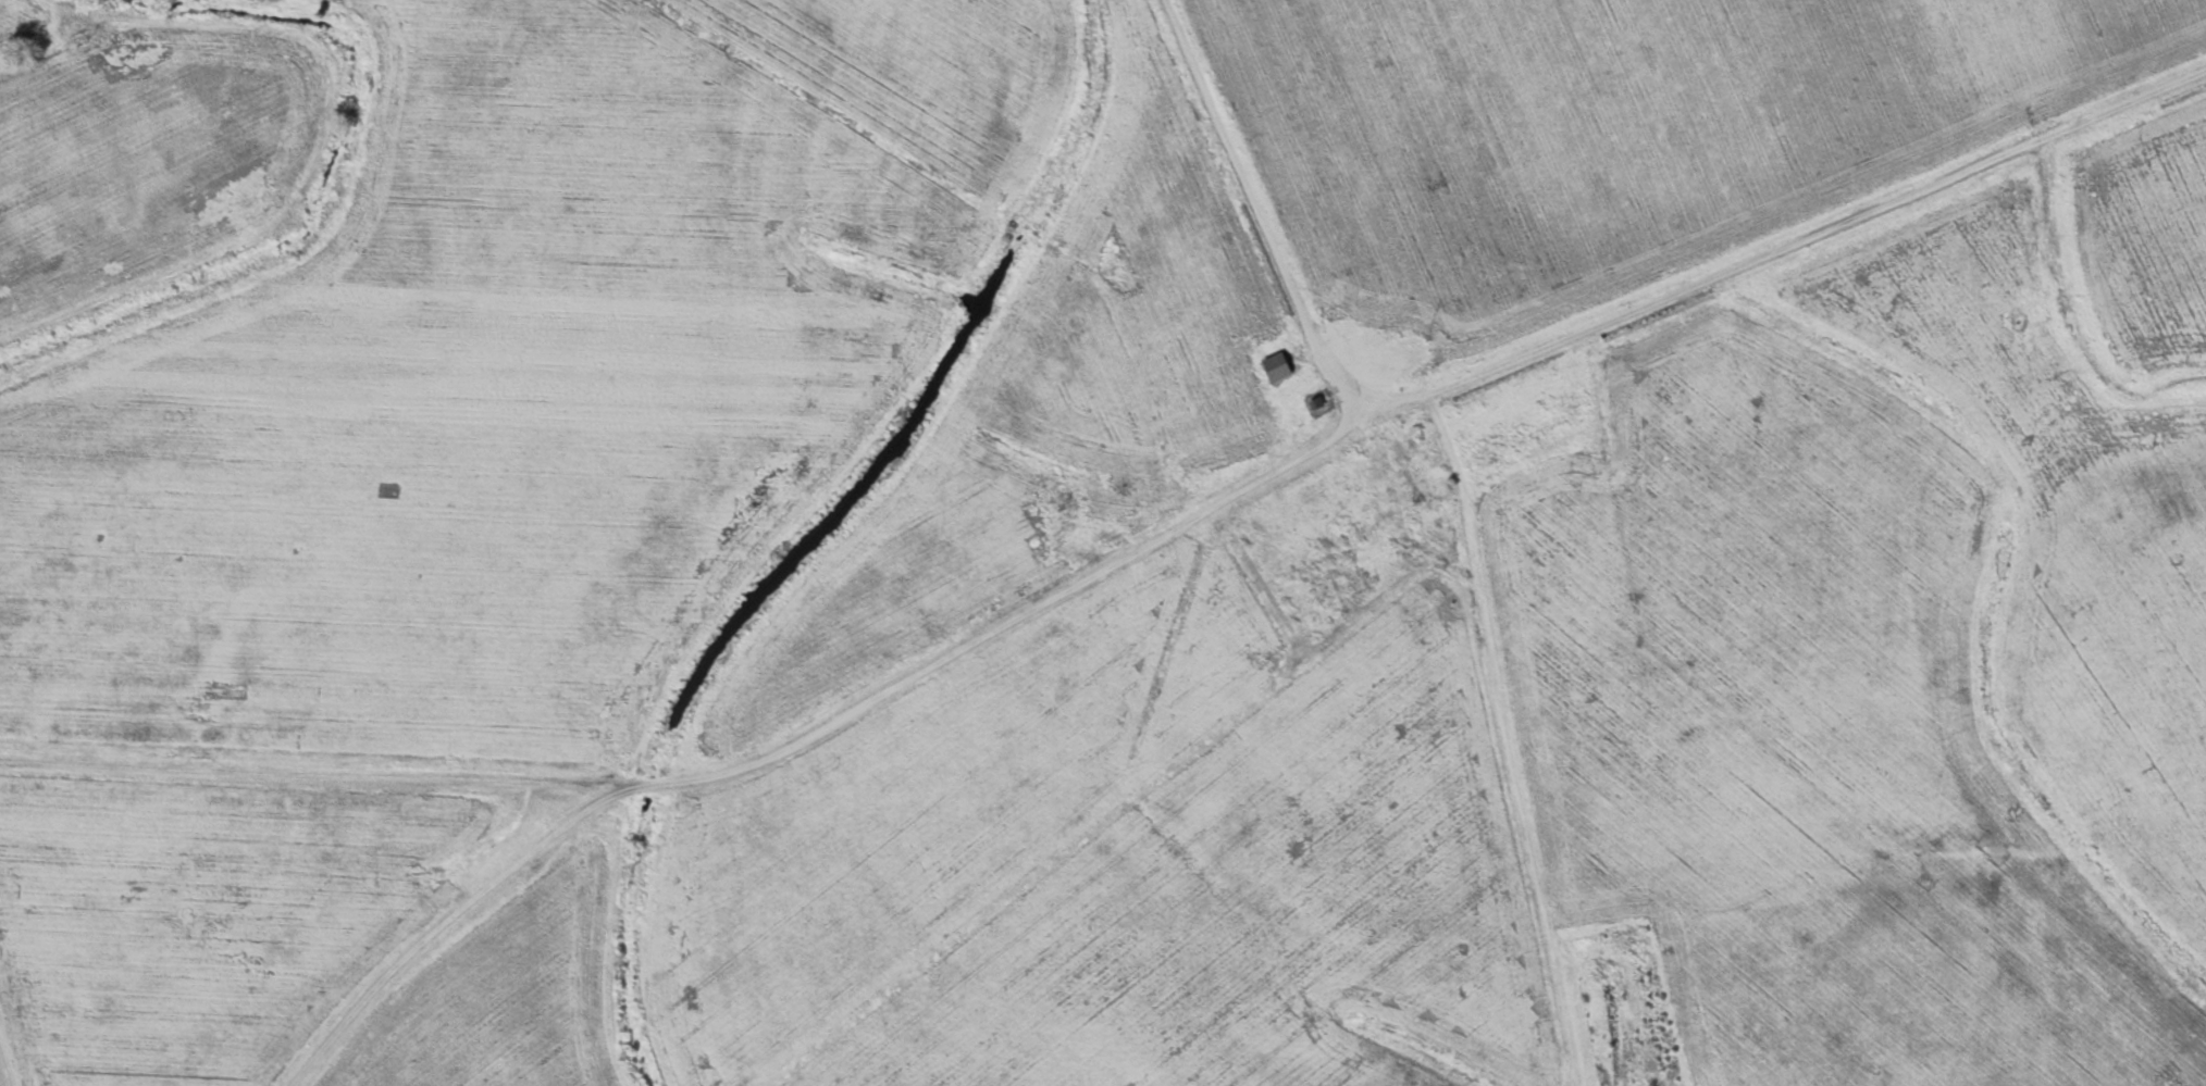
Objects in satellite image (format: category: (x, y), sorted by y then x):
road: (1265, 205)
building: (1275, 367)
road: (1126, 547)

